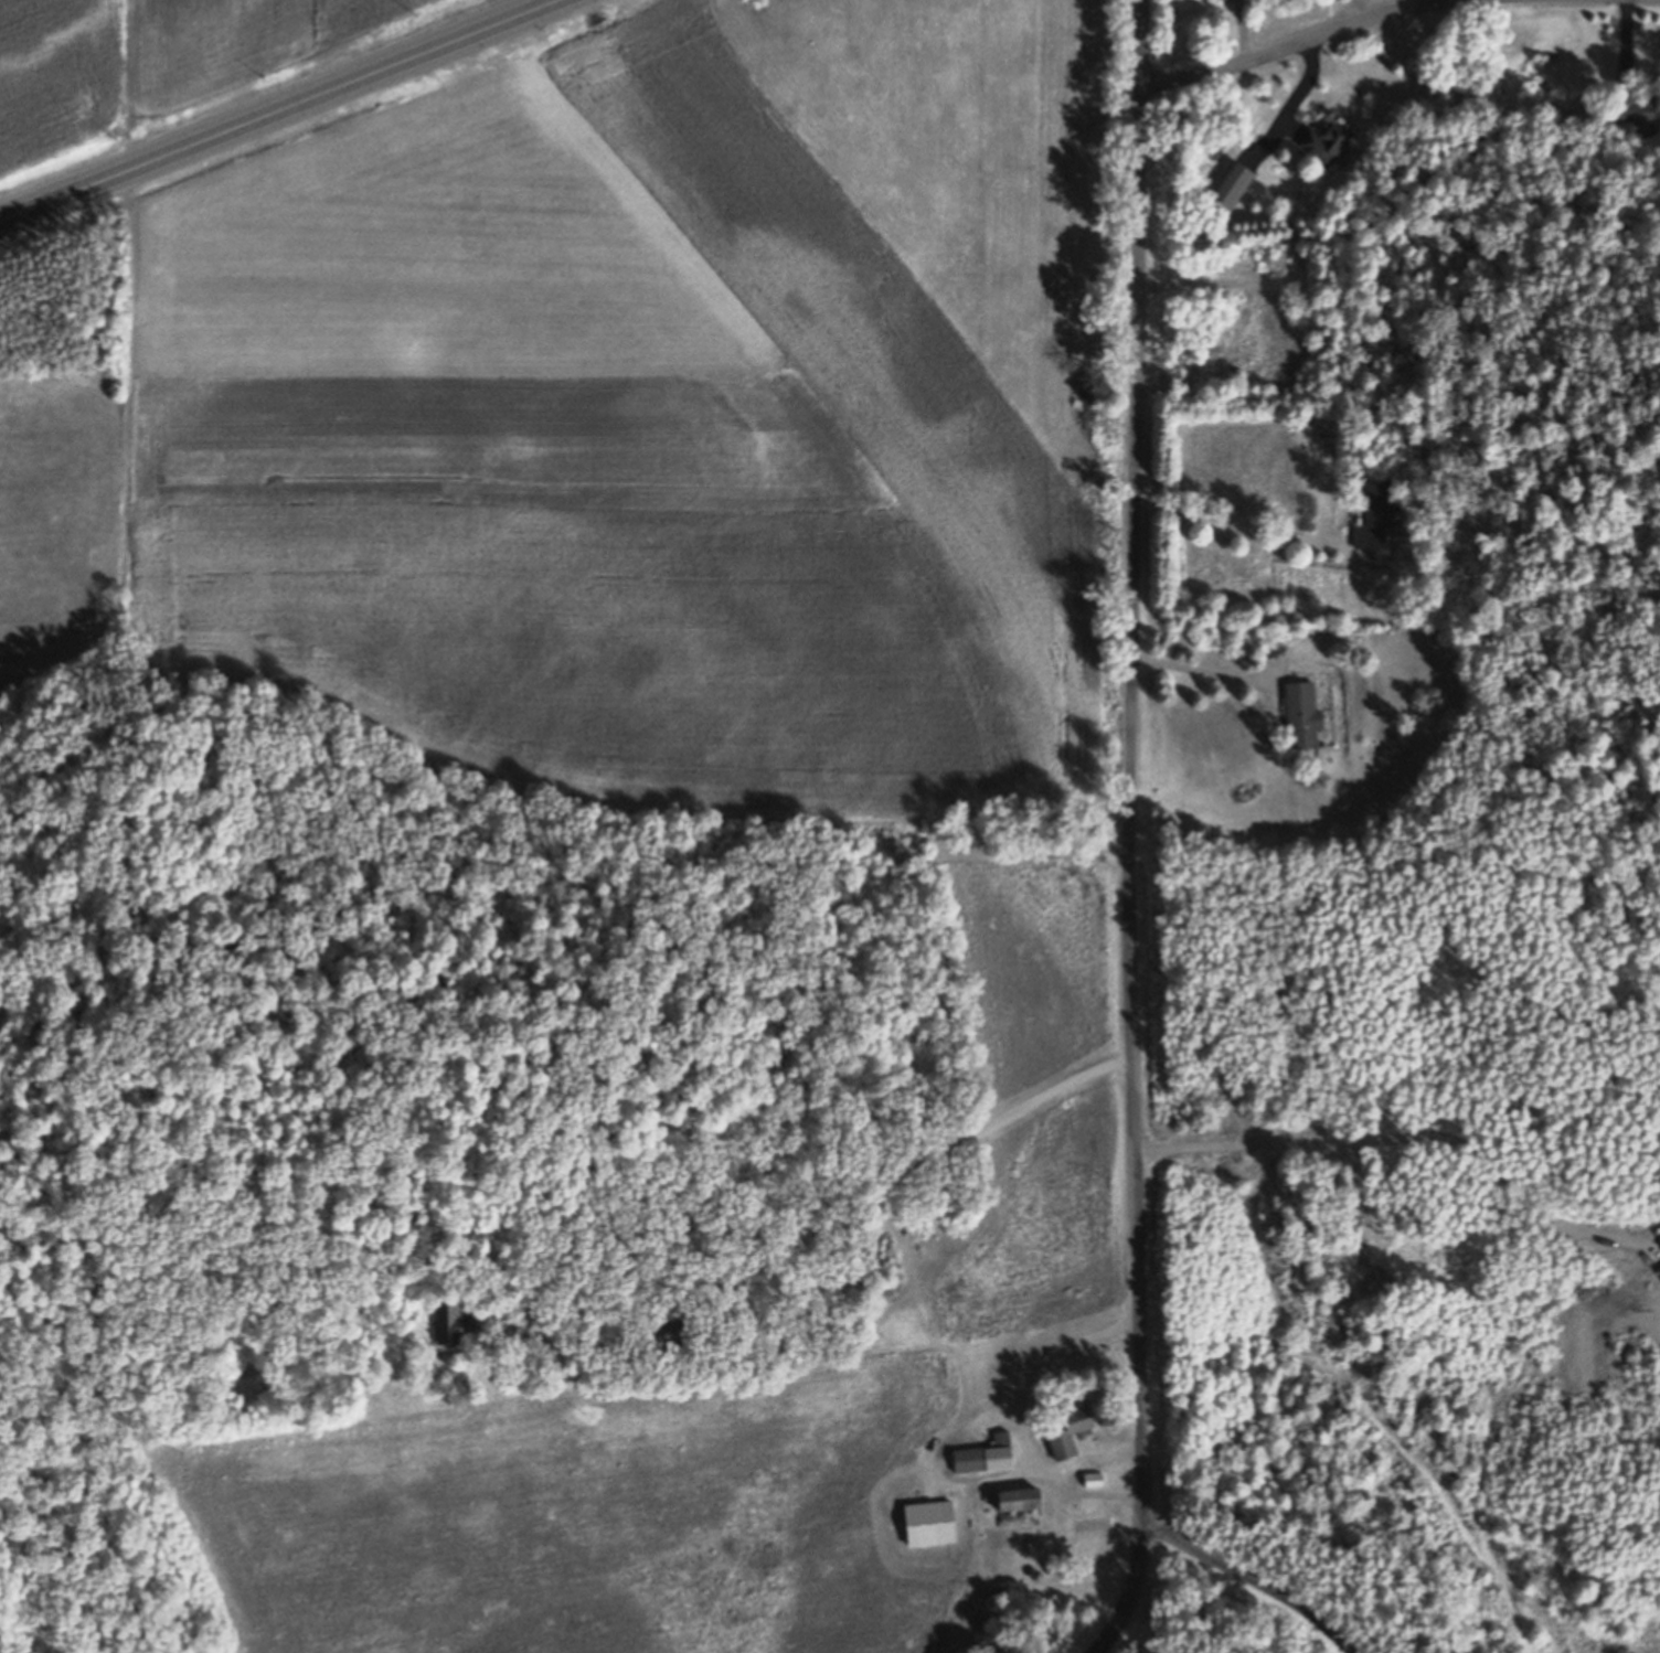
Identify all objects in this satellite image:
road: (1299, 44)
building: (1634, 107)
road: (278, 109)
building: (1326, 140)
building: (1230, 185)
building: (1374, 513)
road: (1238, 532)
road: (1205, 672)
building: (1300, 713)
road: (1128, 831)
road: (1383, 1142)
road: (830, 1228)
building: (451, 1322)
building: (671, 1334)
road: (1024, 1419)
building: (1068, 1429)
building: (983, 1455)
building: (1093, 1480)
building: (1017, 1500)
building: (1035, 1548)
road: (1253, 1580)

